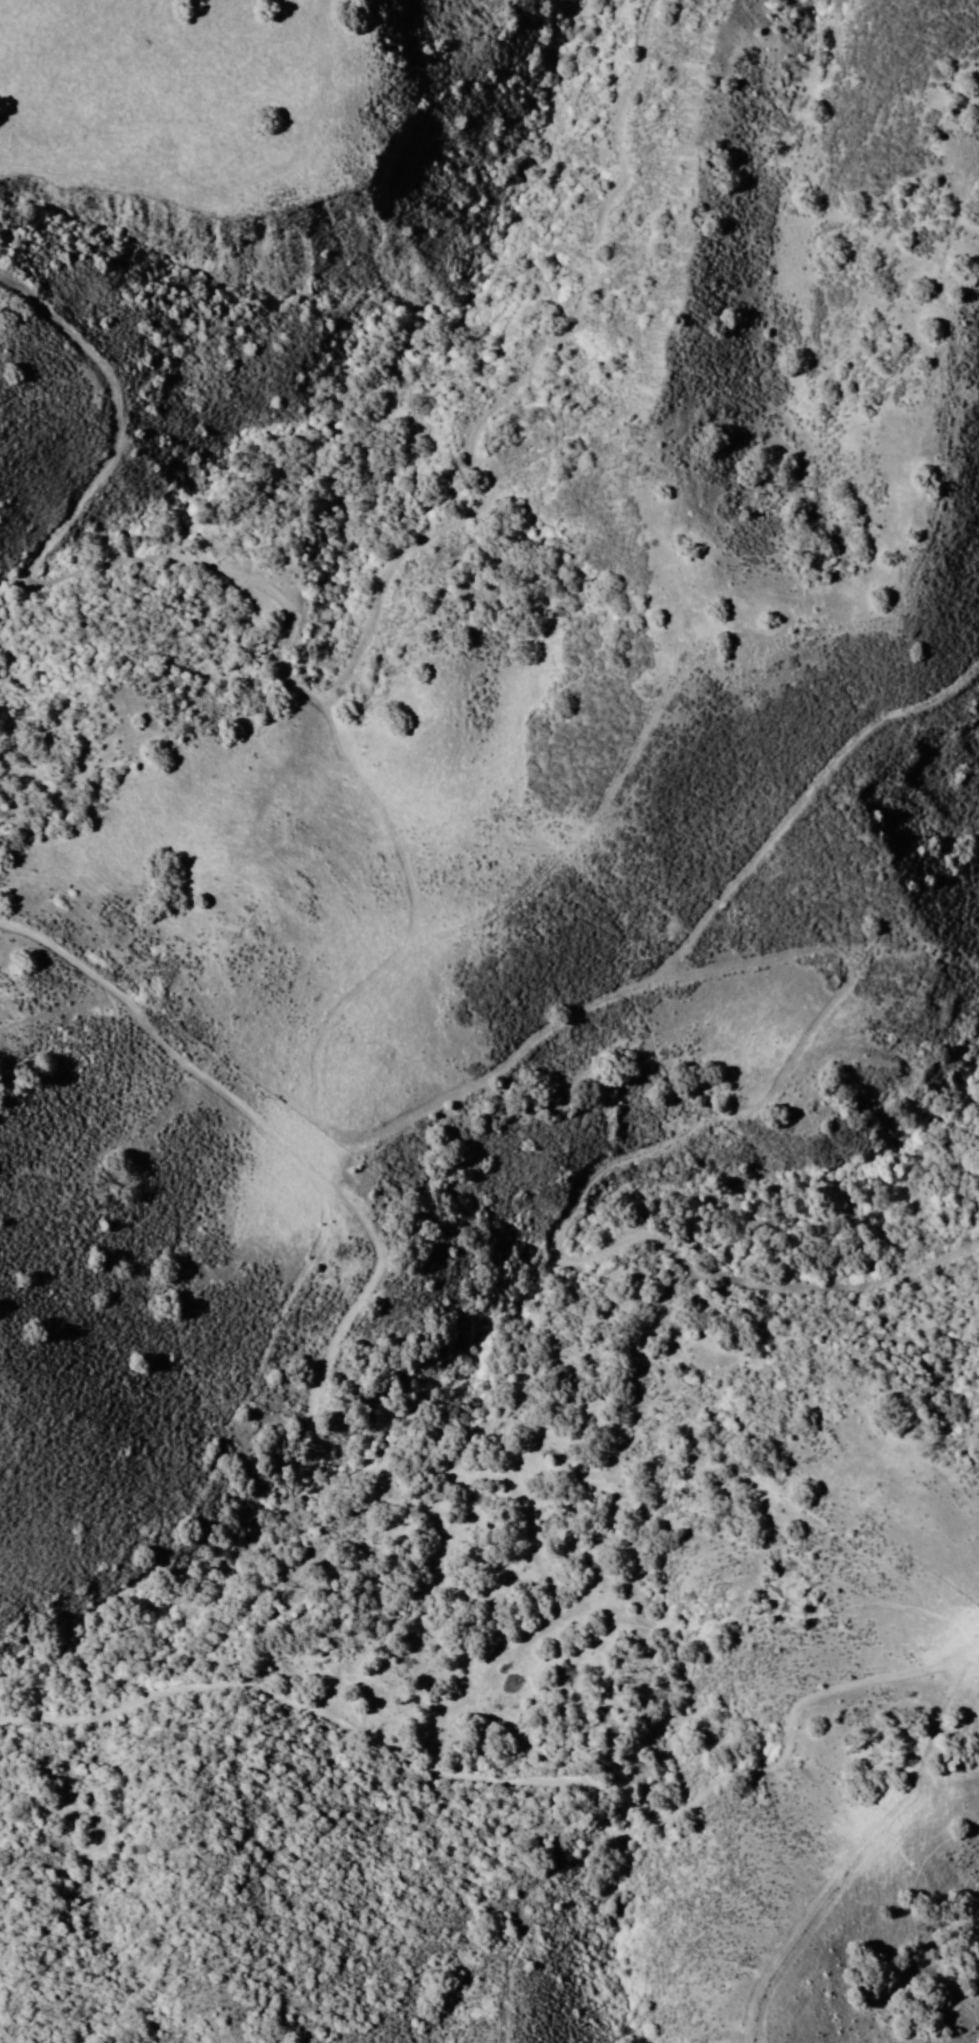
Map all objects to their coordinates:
road: (693, 267)
road: (704, 984)
road: (202, 1313)
road: (499, 1813)

